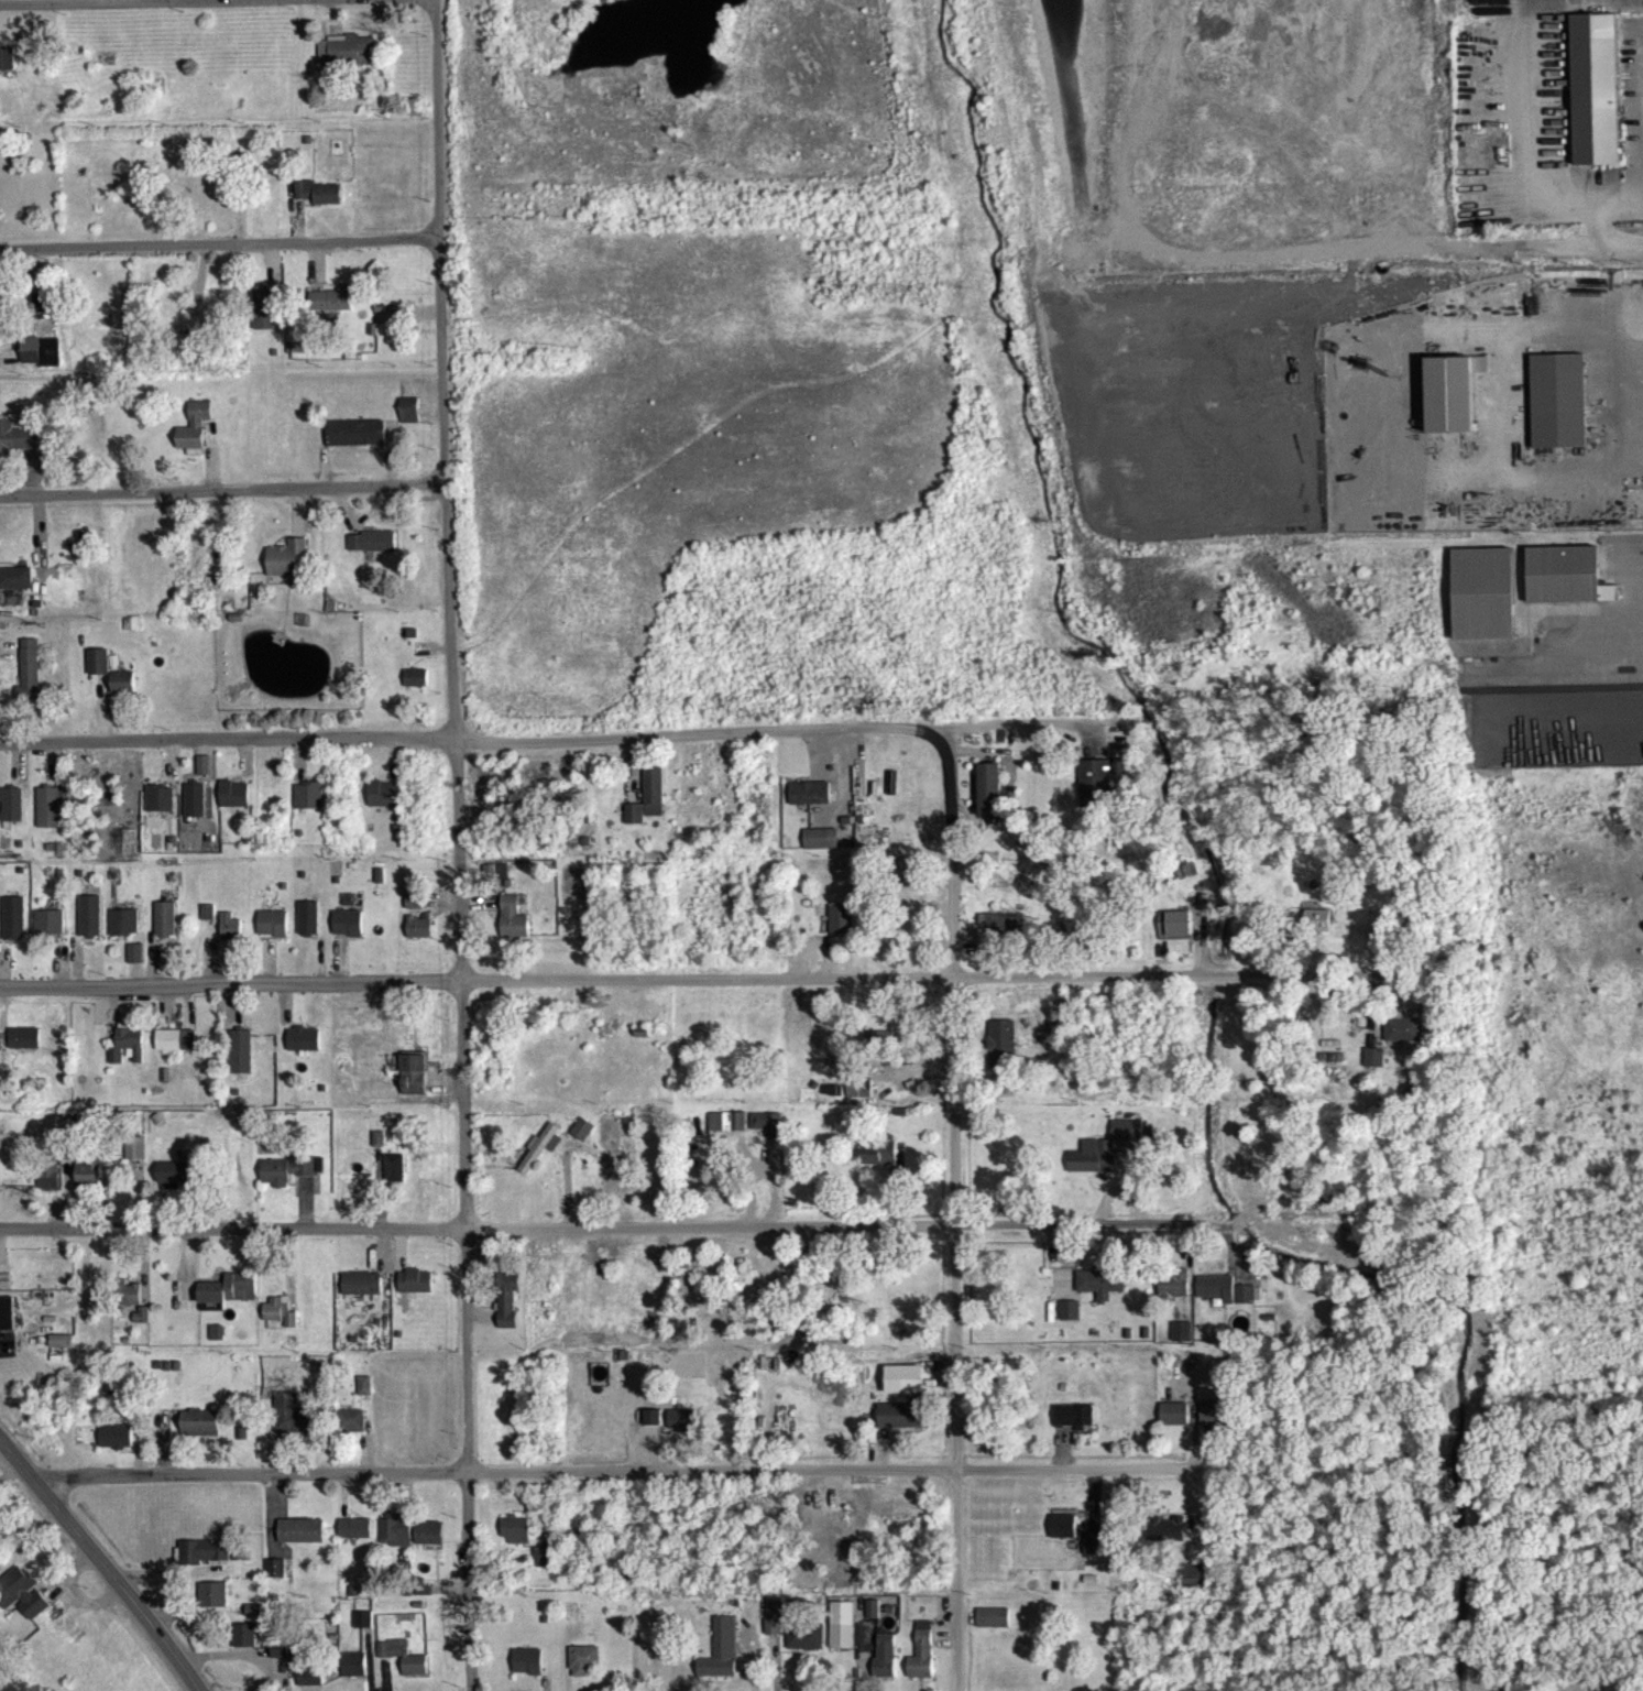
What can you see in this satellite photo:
road: (58, 1)
building: (348, 61)
building: (7, 69)
building: (1596, 99)
building: (304, 199)
building: (328, 204)
building: (222, 205)
road: (219, 241)
road: (1549, 244)
building: (332, 309)
road: (1613, 310)
building: (44, 316)
building: (263, 316)
building: (393, 324)
building: (302, 357)
building: (41, 361)
building: (1453, 403)
road: (1637, 410)
building: (1559, 411)
building: (409, 419)
building: (195, 435)
building: (357, 443)
building: (19, 447)
road: (221, 488)
building: (373, 552)
building: (288, 572)
building: (1567, 586)
building: (15, 588)
road: (1630, 641)
building: (99, 672)
building: (31, 675)
building: (417, 688)
building: (124, 692)
road: (1007, 721)
road: (469, 739)
building: (205, 775)
building: (1095, 793)
building: (990, 799)
building: (654, 801)
building: (810, 803)
building: (237, 804)
building: (384, 804)
building: (309, 806)
building: (160, 808)
building: (196, 810)
building: (13, 815)
building: (50, 818)
building: (635, 823)
road: (457, 844)
building: (821, 849)
building: (1186, 881)
building: (414, 912)
building: (209, 921)
building: (91, 926)
building: (15, 928)
building: (166, 928)
building: (308, 928)
building: (513, 928)
building: (842, 929)
building: (1317, 930)
building: (51, 931)
building: (125, 932)
building: (348, 932)
building: (273, 934)
building: (1004, 934)
building: (230, 936)
building: (1178, 936)
building: (419, 937)
road: (688, 975)
building: (1403, 1039)
building: (24, 1048)
building: (175, 1049)
building: (304, 1049)
building: (879, 1050)
building: (128, 1056)
building: (1004, 1060)
building: (241, 1061)
building: (1374, 1068)
building: (412, 1082)
building: (859, 1098)
building: (727, 1132)
building: (767, 1134)
building: (583, 1138)
building: (1127, 1139)
building: (379, 1148)
building: (555, 1153)
building: (135, 1158)
building: (539, 1158)
building: (877, 1161)
building: (1094, 1167)
building: (394, 1178)
building: (285, 1180)
building: (178, 1181)
building: (88, 1183)
building: (50, 1186)
road: (953, 1212)
road: (614, 1225)
building: (1066, 1265)
building: (416, 1291)
building: (1102, 1292)
building: (362, 1294)
building: (1174, 1294)
building: (229, 1299)
building: (1225, 1299)
building: (130, 1305)
building: (507, 1309)
building: (1070, 1320)
building: (280, 1321)
building: (7, 1323)
building: (141, 1325)
building: (217, 1342)
building: (62, 1351)
building: (906, 1389)
building: (364, 1396)
building: (1174, 1423)
building: (1215, 1423)
building: (293, 1425)
building: (654, 1425)
building: (901, 1426)
building: (1074, 1427)
building: (681, 1430)
building: (350, 1431)
building: (201, 1433)
building: (116, 1447)
road: (649, 1469)
building: (355, 1538)
building: (395, 1539)
building: (1166, 1539)
building: (302, 1540)
building: (517, 1540)
building: (430, 1542)
building: (1093, 1554)
building: (204, 1561)
road: (99, 1562)
building: (544, 1567)
building: (275, 1578)
building: (23, 1602)
building: (213, 1604)
building: (254, 1619)
building: (774, 1626)
building: (364, 1629)
building: (842, 1635)
building: (245, 1645)
building: (806, 1647)
building: (281, 1658)
building: (721, 1660)
building: (922, 1661)
building: (404, 1667)
building: (885, 1667)
building: (584, 1670)
building: (527, 1671)
building: (354, 1674)
building: (311, 1684)

